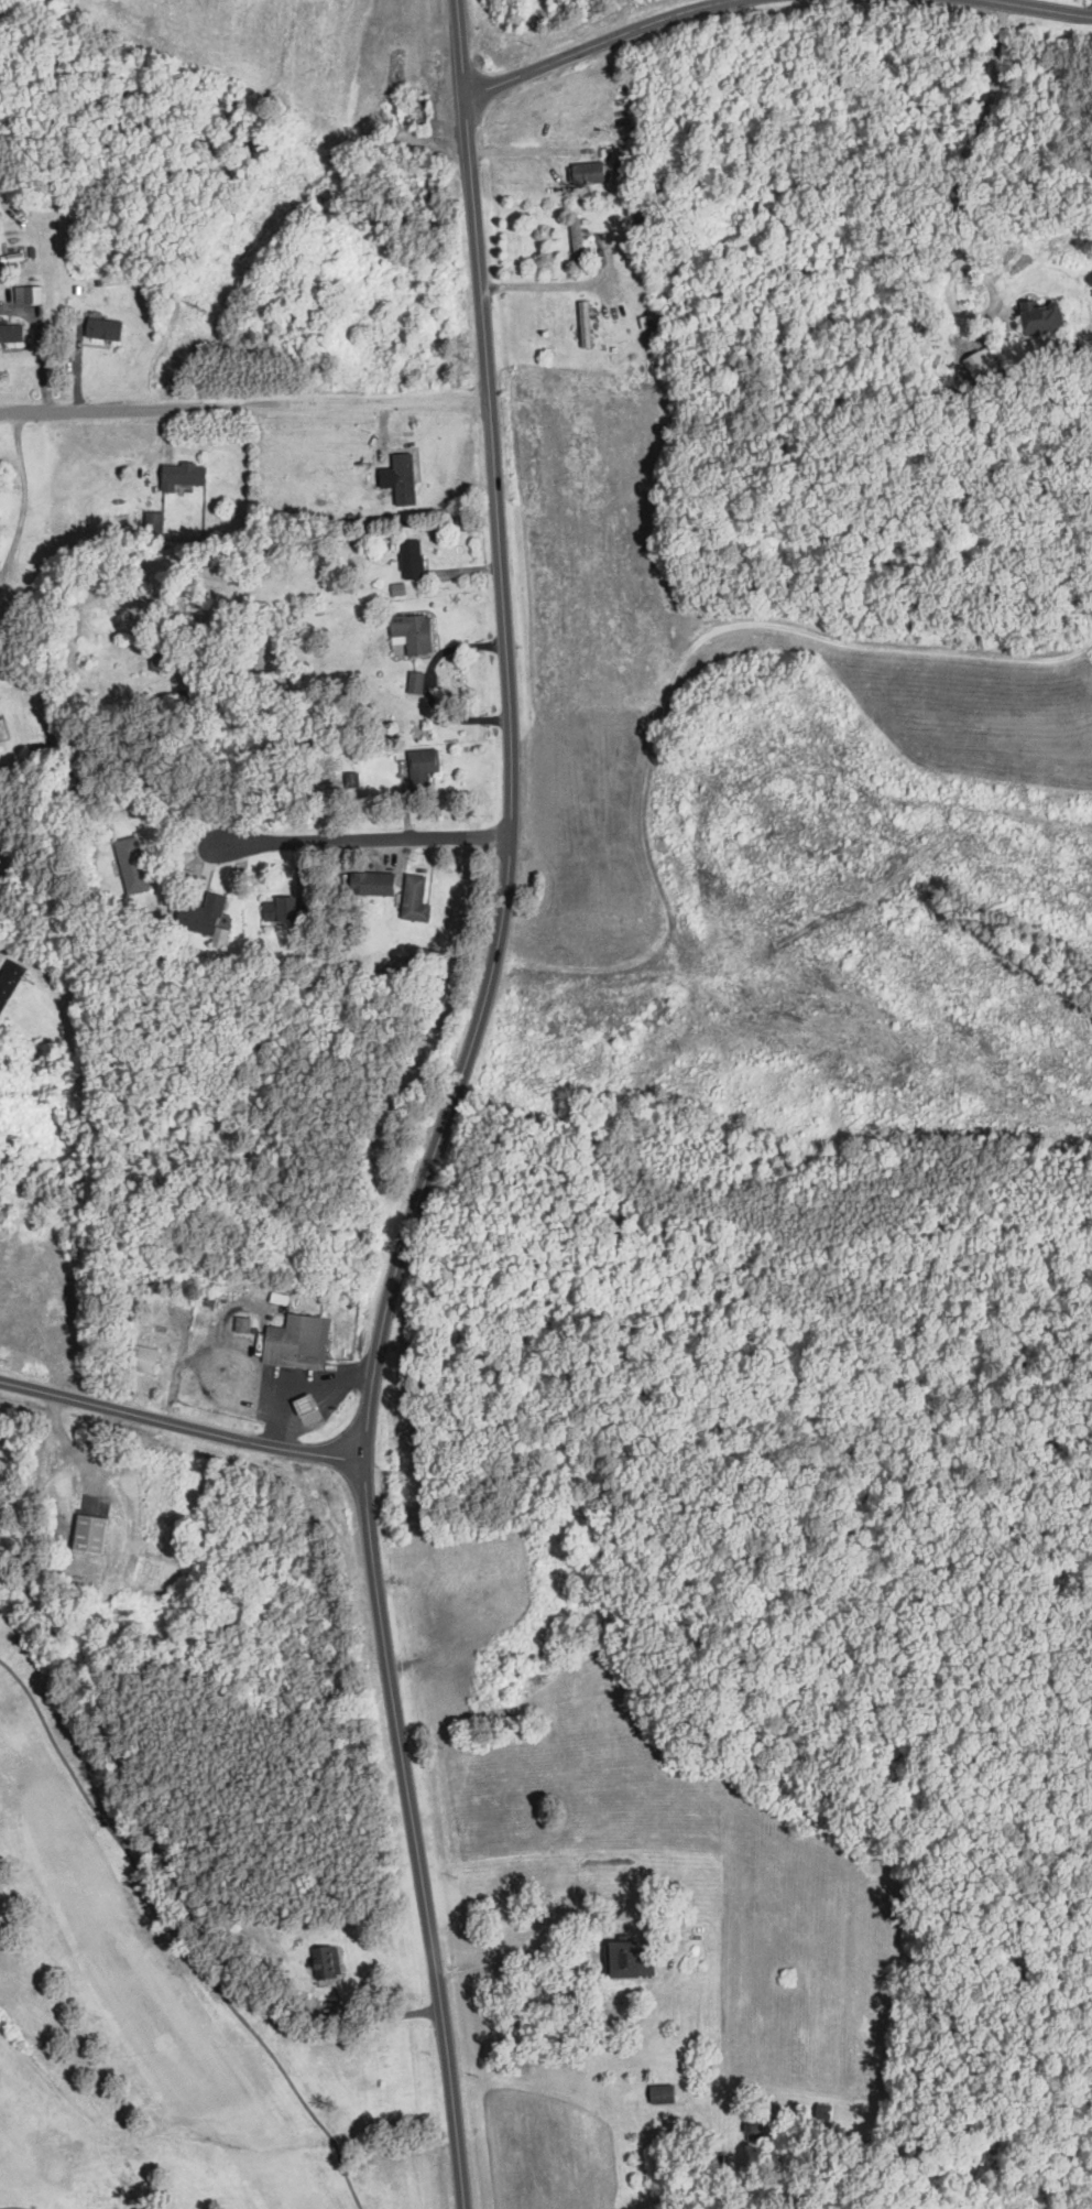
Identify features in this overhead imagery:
road: (1046, 8)
road: (599, 43)
road: (462, 46)
building: (422, 110)
building: (587, 173)
road: (957, 209)
building: (577, 241)
road: (547, 283)
building: (28, 295)
power tower: (199, 307)
building: (1040, 318)
building: (585, 324)
building: (103, 329)
building: (11, 333)
road: (245, 410)
building: (182, 475)
building: (404, 478)
building: (149, 526)
building: (412, 559)
building: (412, 635)
building: (159, 658)
building: (415, 682)
building: (422, 767)
road: (510, 786)
road: (363, 843)
building: (131, 865)
building: (372, 884)
building: (414, 899)
building: (288, 909)
building: (205, 918)
road: (2, 948)
building: (10, 982)
building: (208, 1298)
building: (242, 1324)
building: (299, 1342)
building: (141, 1358)
road: (281, 1388)
road: (327, 1403)
building: (307, 1406)
gas station: (307, 1406)
road: (181, 1426)
building: (89, 1535)
road: (414, 1833)
road: (647, 1909)
building: (629, 1961)
building: (325, 1962)
park: (131, 1999)
road: (383, 2014)
building: (662, 2094)
building: (751, 2130)

